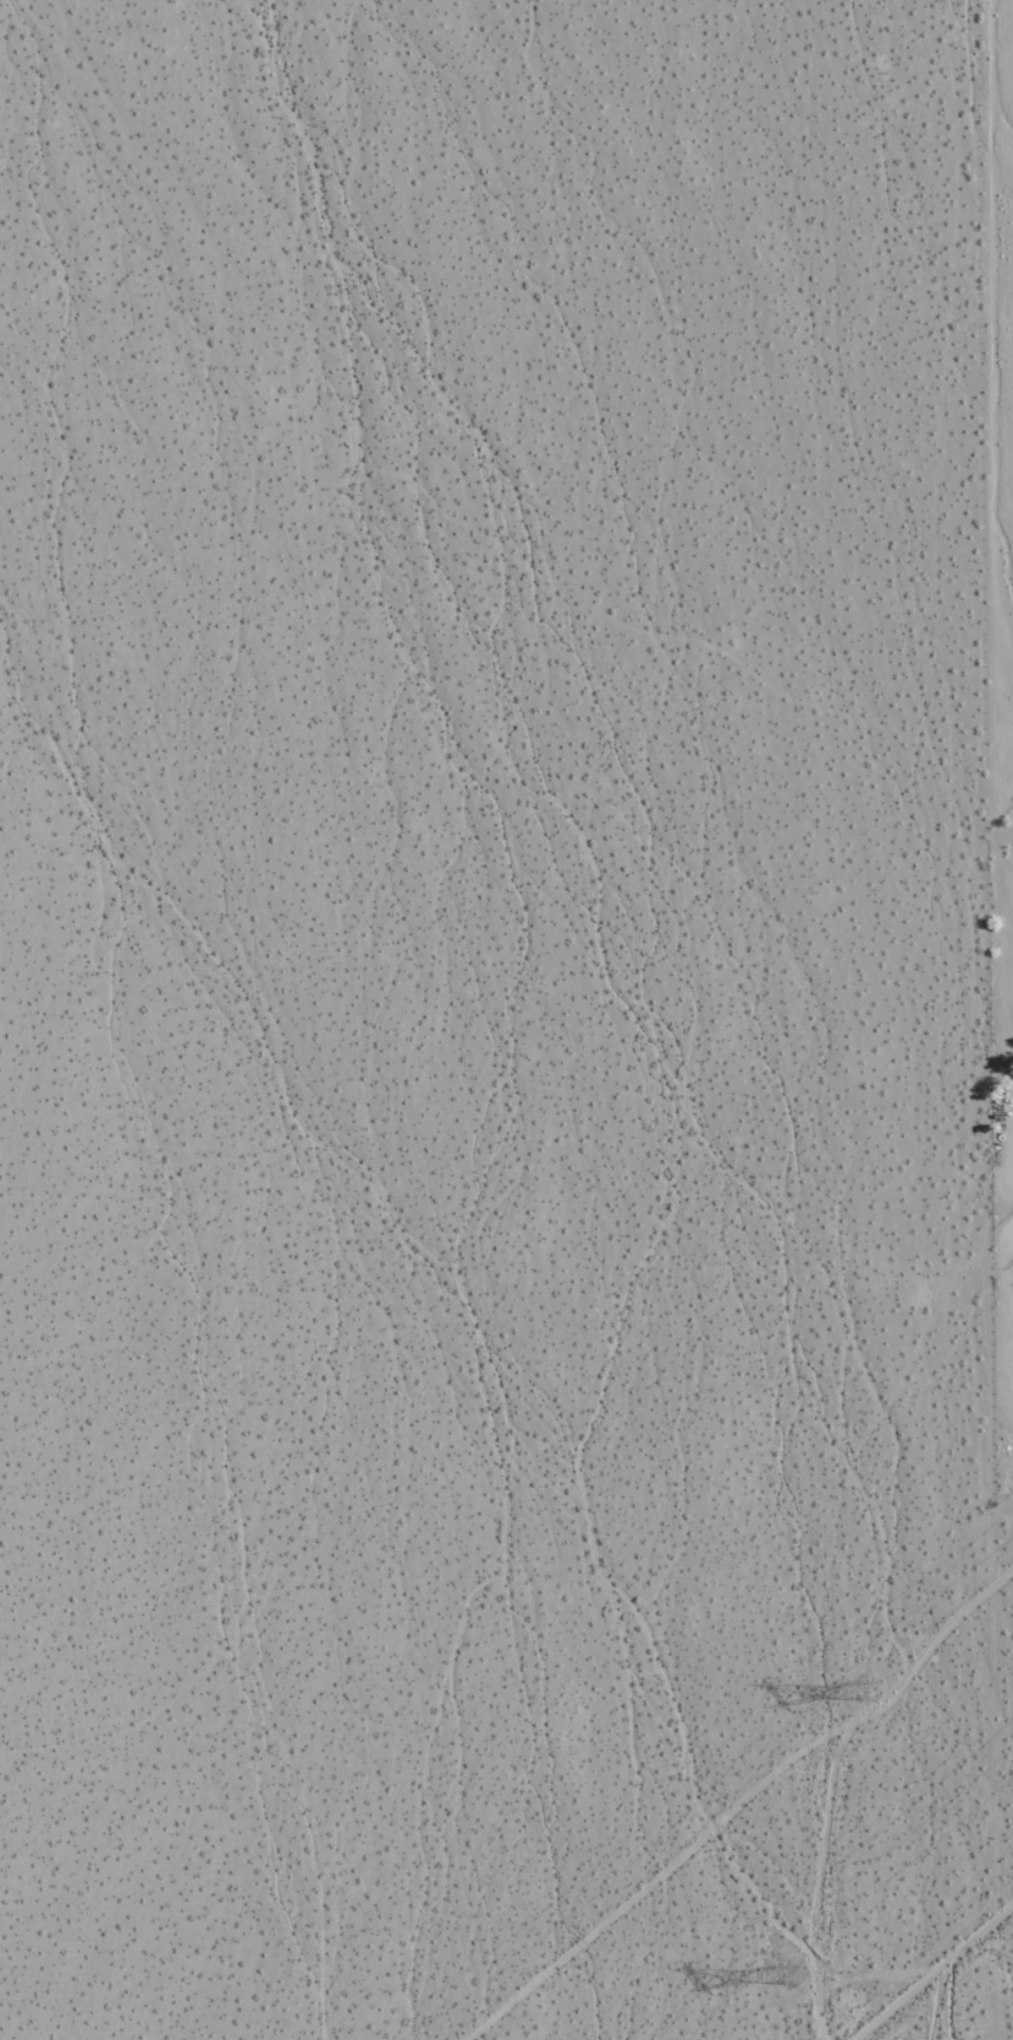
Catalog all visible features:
road: (1008, 1238)
power tower: (870, 1692)
power tower: (793, 1978)
road: (946, 1981)

